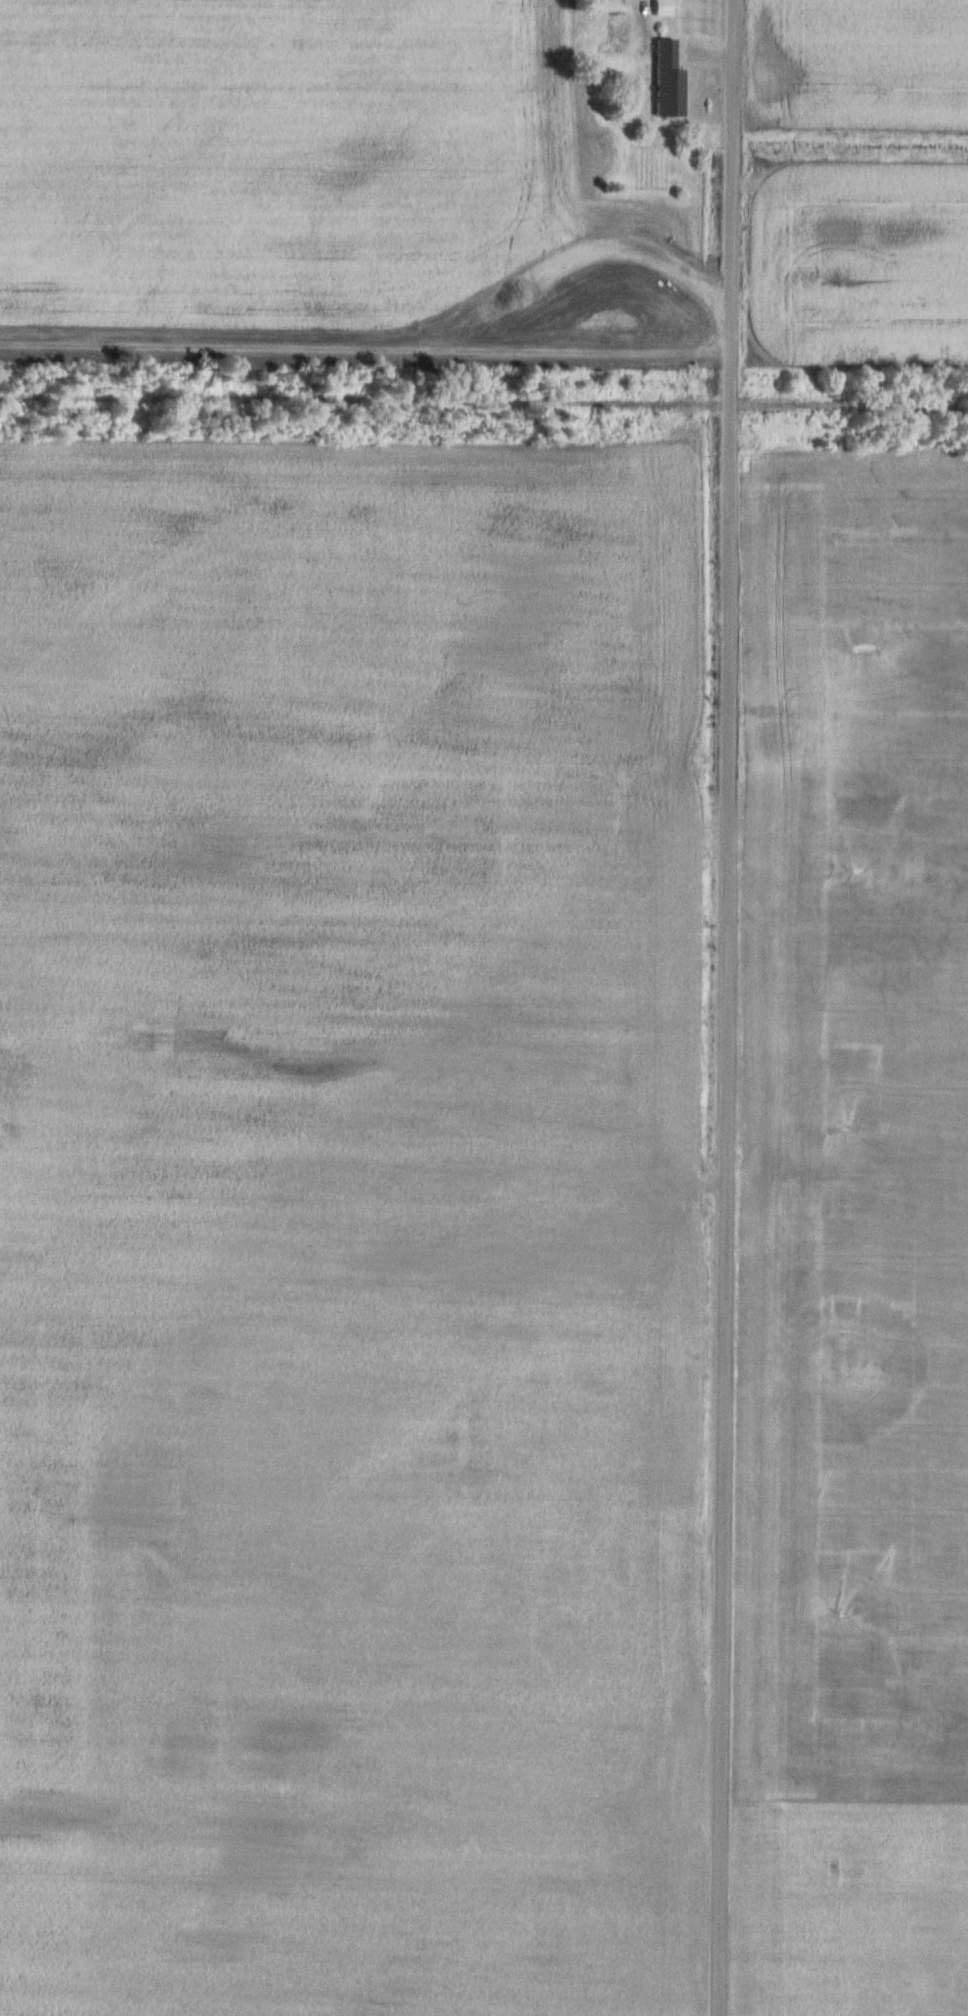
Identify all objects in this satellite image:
building: (661, 7)
building: (616, 25)
building: (665, 79)
road: (363, 340)
railway: (854, 402)
road: (721, 1008)

